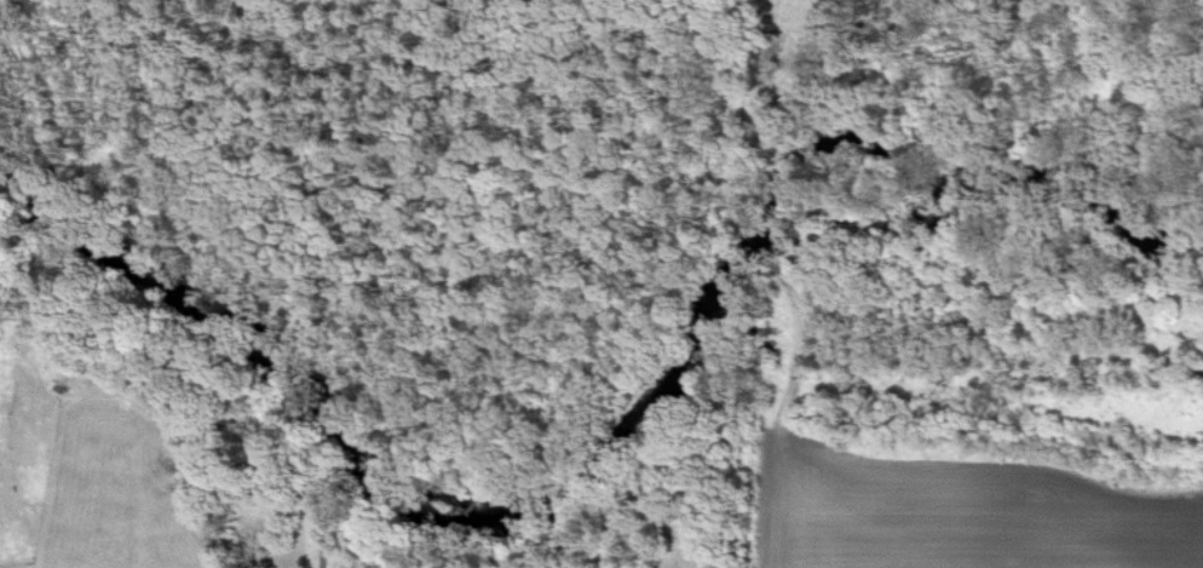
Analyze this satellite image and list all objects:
road: (207, 385)

